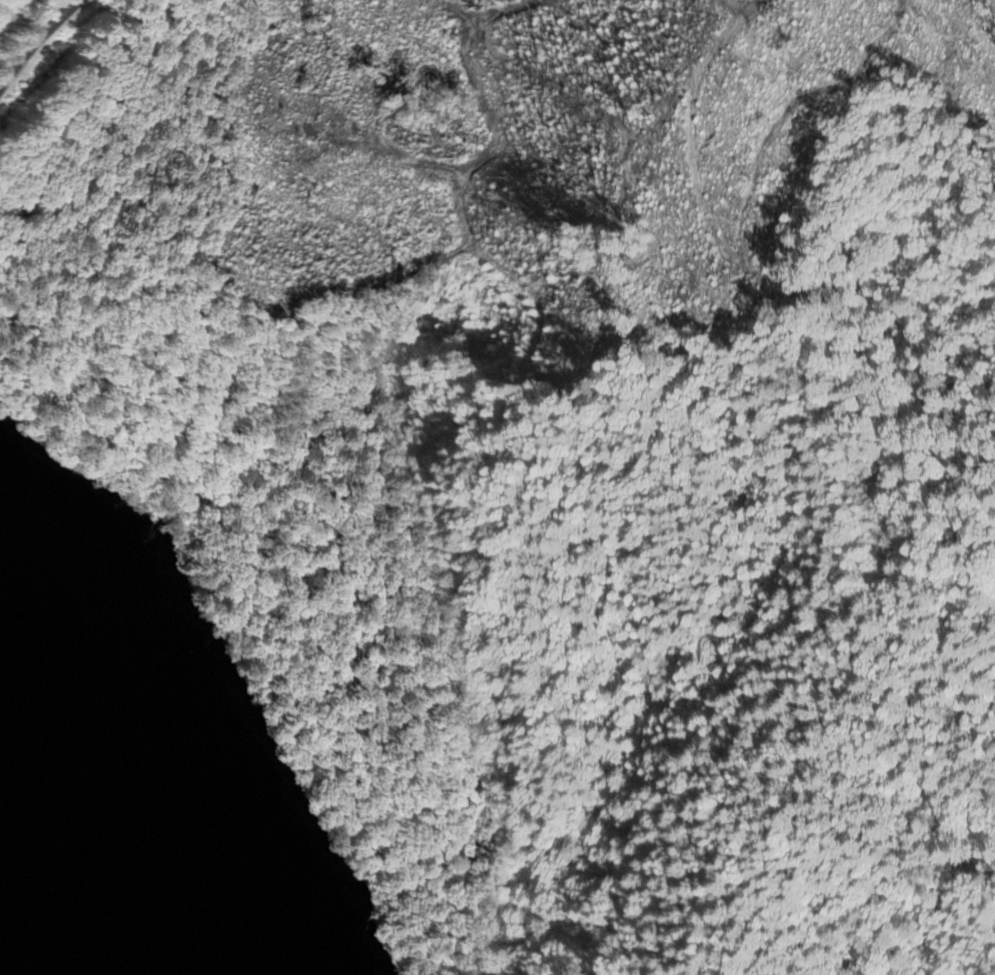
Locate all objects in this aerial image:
road: (33, 38)
river: (86, 849)

